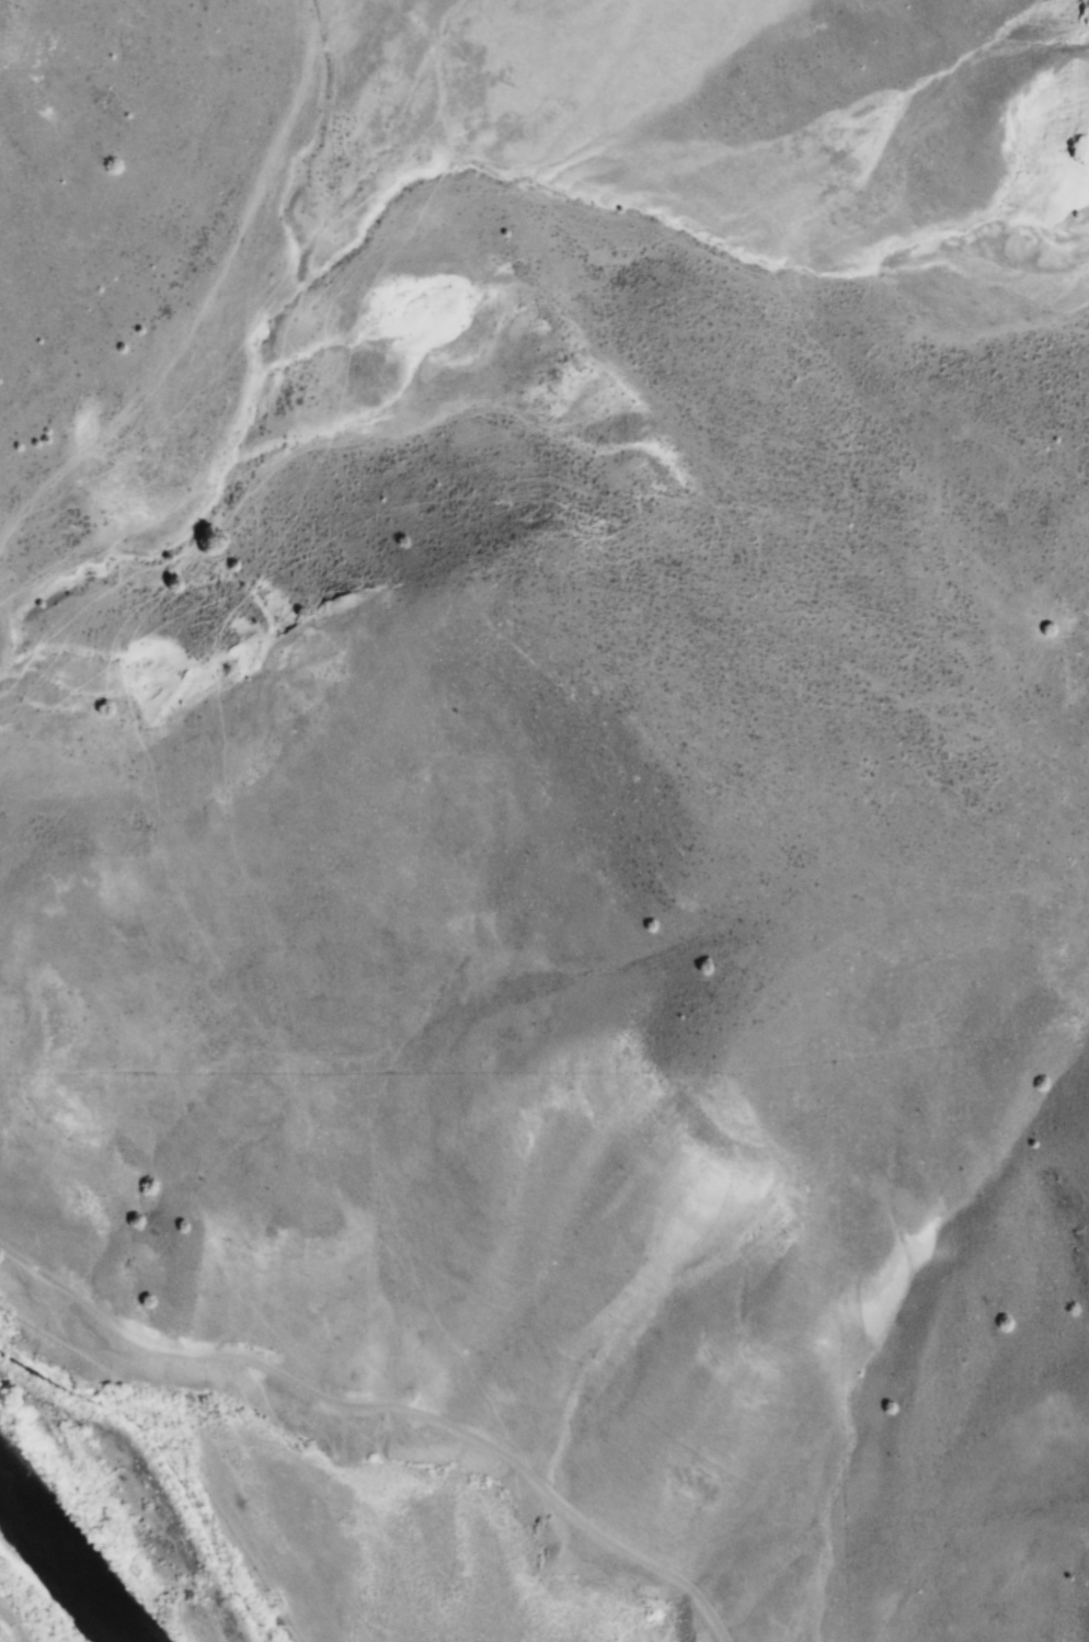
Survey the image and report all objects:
river: (65, 1570)

